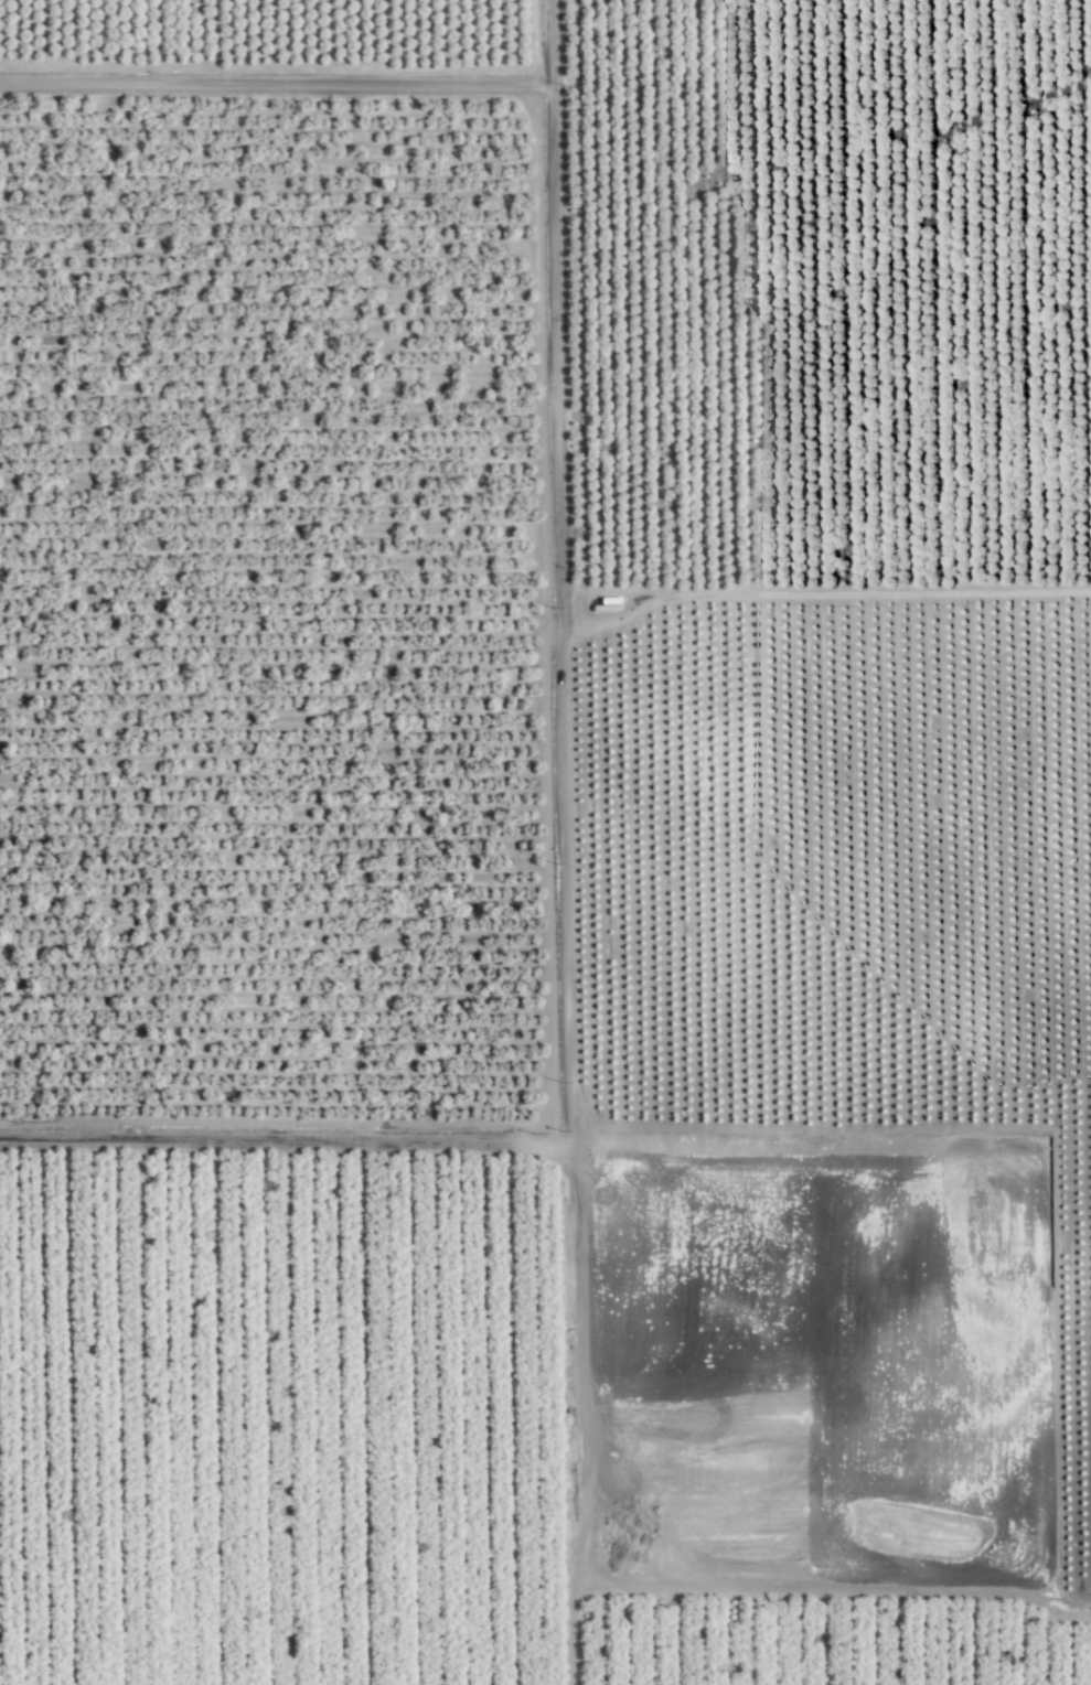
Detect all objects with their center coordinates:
crop: (267, 569)
road: (558, 619)
crop: (545, 842)

